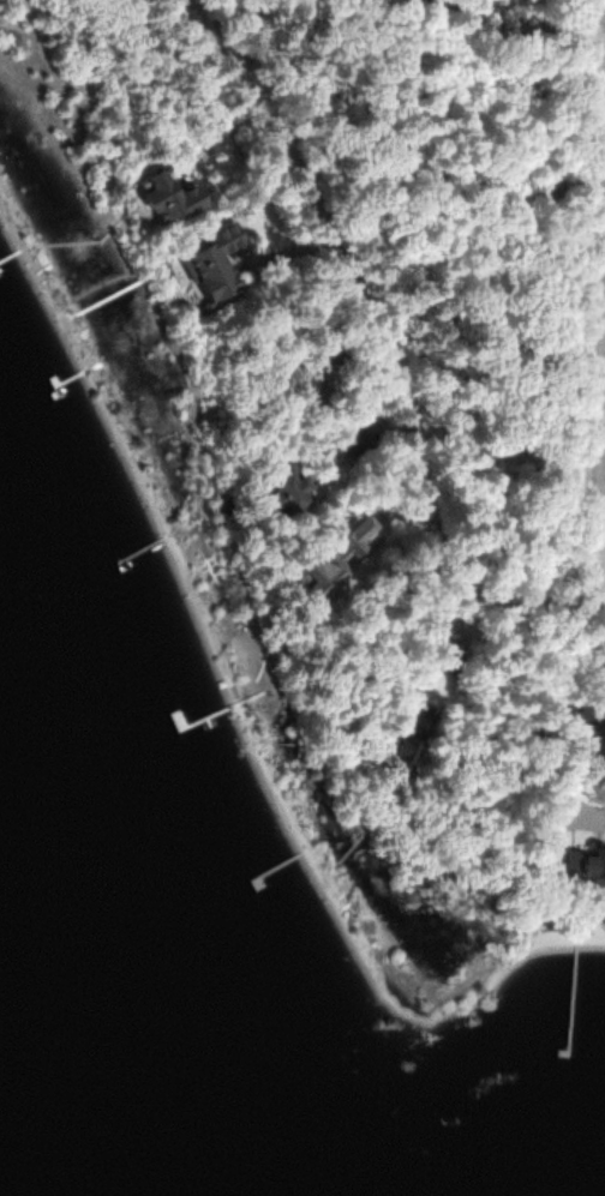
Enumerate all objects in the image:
building: (217, 259)
road: (384, 342)
building: (357, 437)
building: (290, 485)
building: (343, 555)
building: (586, 849)

